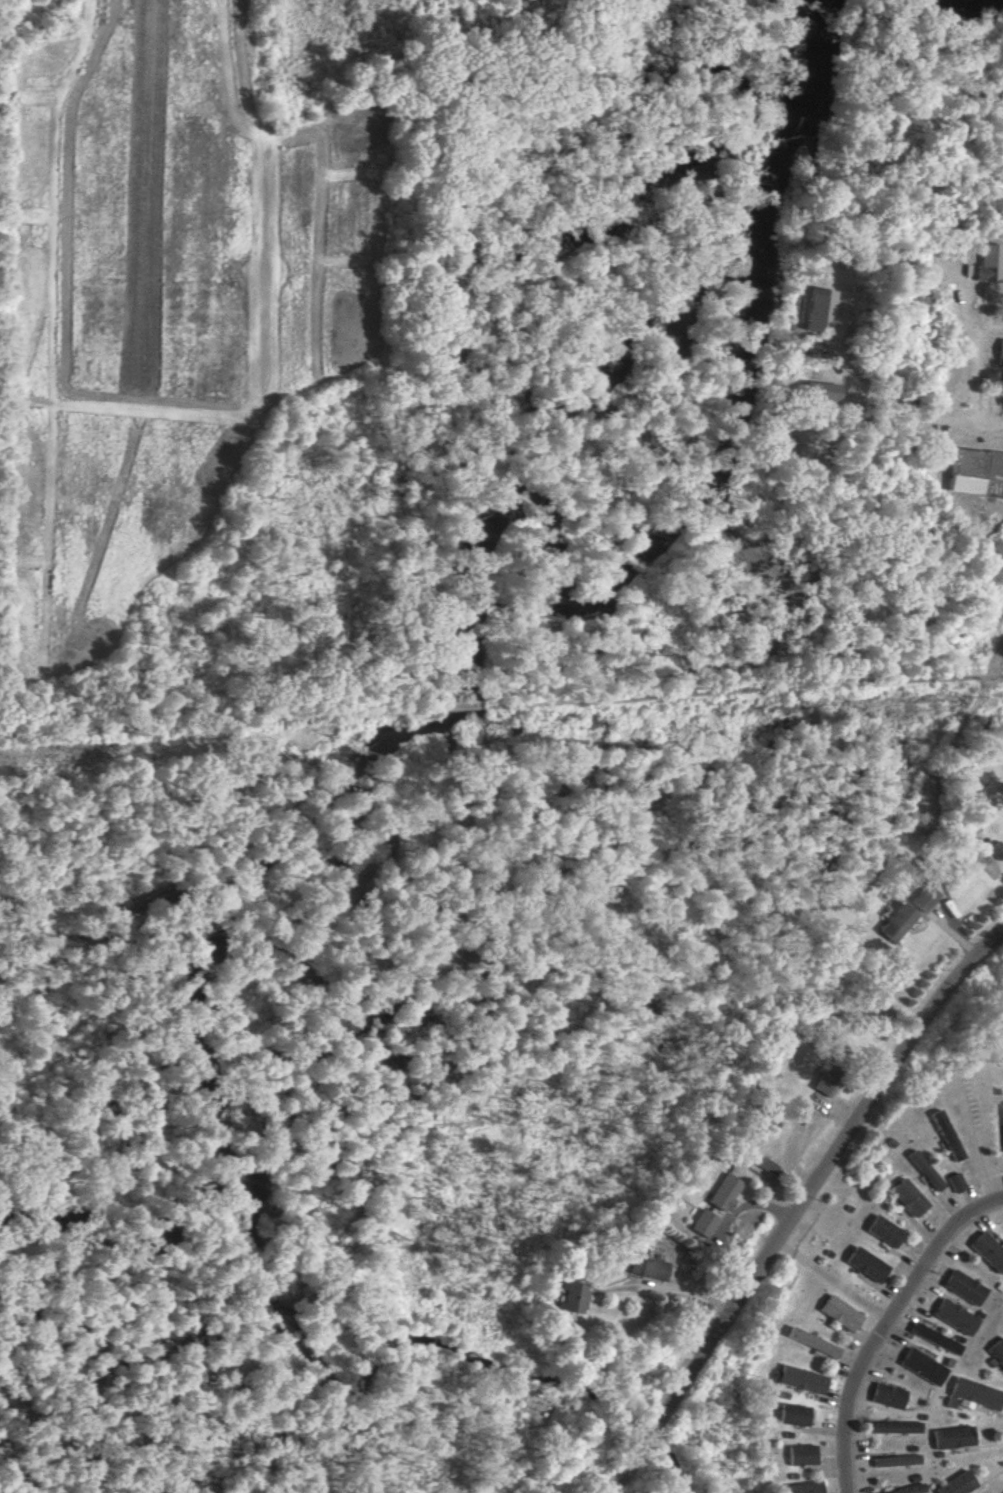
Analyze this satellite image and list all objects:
road: (969, 370)
road: (981, 423)
building: (974, 470)
building: (923, 897)
building: (898, 922)
building: (827, 1082)
road: (886, 1085)
building: (1001, 1134)
building: (946, 1135)
building: (925, 1170)
building: (955, 1182)
building: (725, 1192)
building: (908, 1197)
building: (704, 1223)
building: (884, 1231)
building: (987, 1251)
road: (938, 1252)
building: (865, 1264)
building: (647, 1268)
building: (963, 1287)
building: (570, 1297)
building: (840, 1313)
building: (955, 1317)
building: (935, 1338)
building: (812, 1342)
building: (996, 1350)
road: (693, 1365)
building: (922, 1366)
building: (801, 1379)
building: (975, 1394)
building: (887, 1396)
road: (852, 1403)
building: (793, 1415)
building: (893, 1427)
building: (953, 1437)
building: (801, 1455)
building: (895, 1460)
building: (957, 1484)
building: (803, 1488)
building: (911, 1489)

